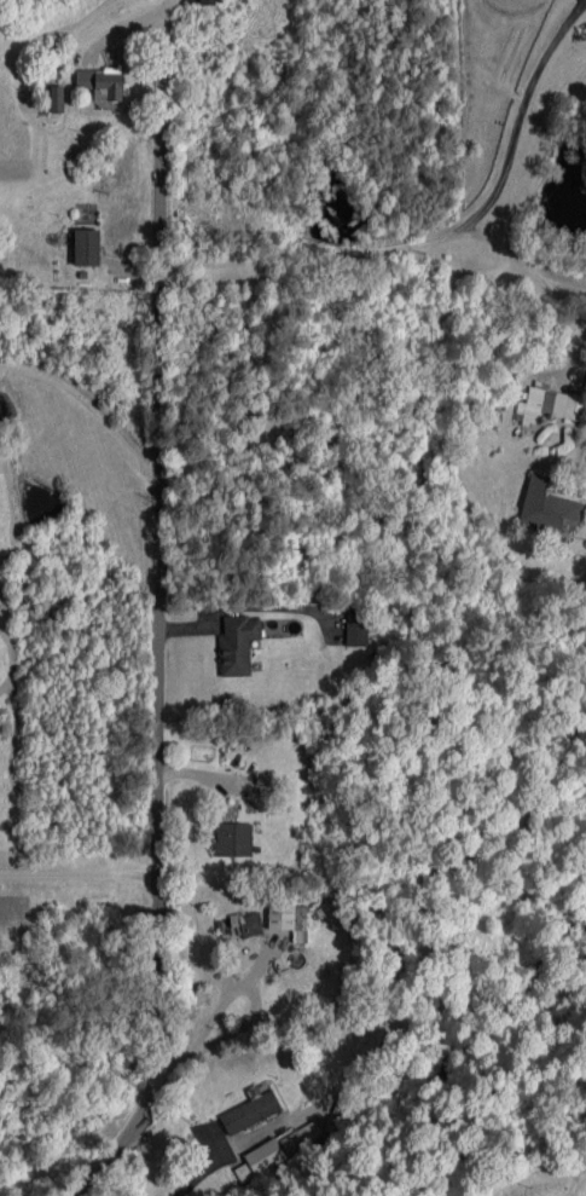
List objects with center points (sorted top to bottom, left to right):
building: (207, 2)
building: (100, 82)
building: (57, 98)
road: (443, 238)
building: (86, 247)
road: (523, 264)
road: (563, 282)
building: (549, 404)
road: (89, 405)
building: (546, 507)
building: (356, 632)
road: (159, 640)
building: (237, 645)
road: (80, 786)
building: (233, 839)
road: (79, 879)
building: (246, 923)
road: (215, 1012)
road: (239, 1029)
building: (251, 1109)
road: (224, 1154)
building: (269, 1154)

